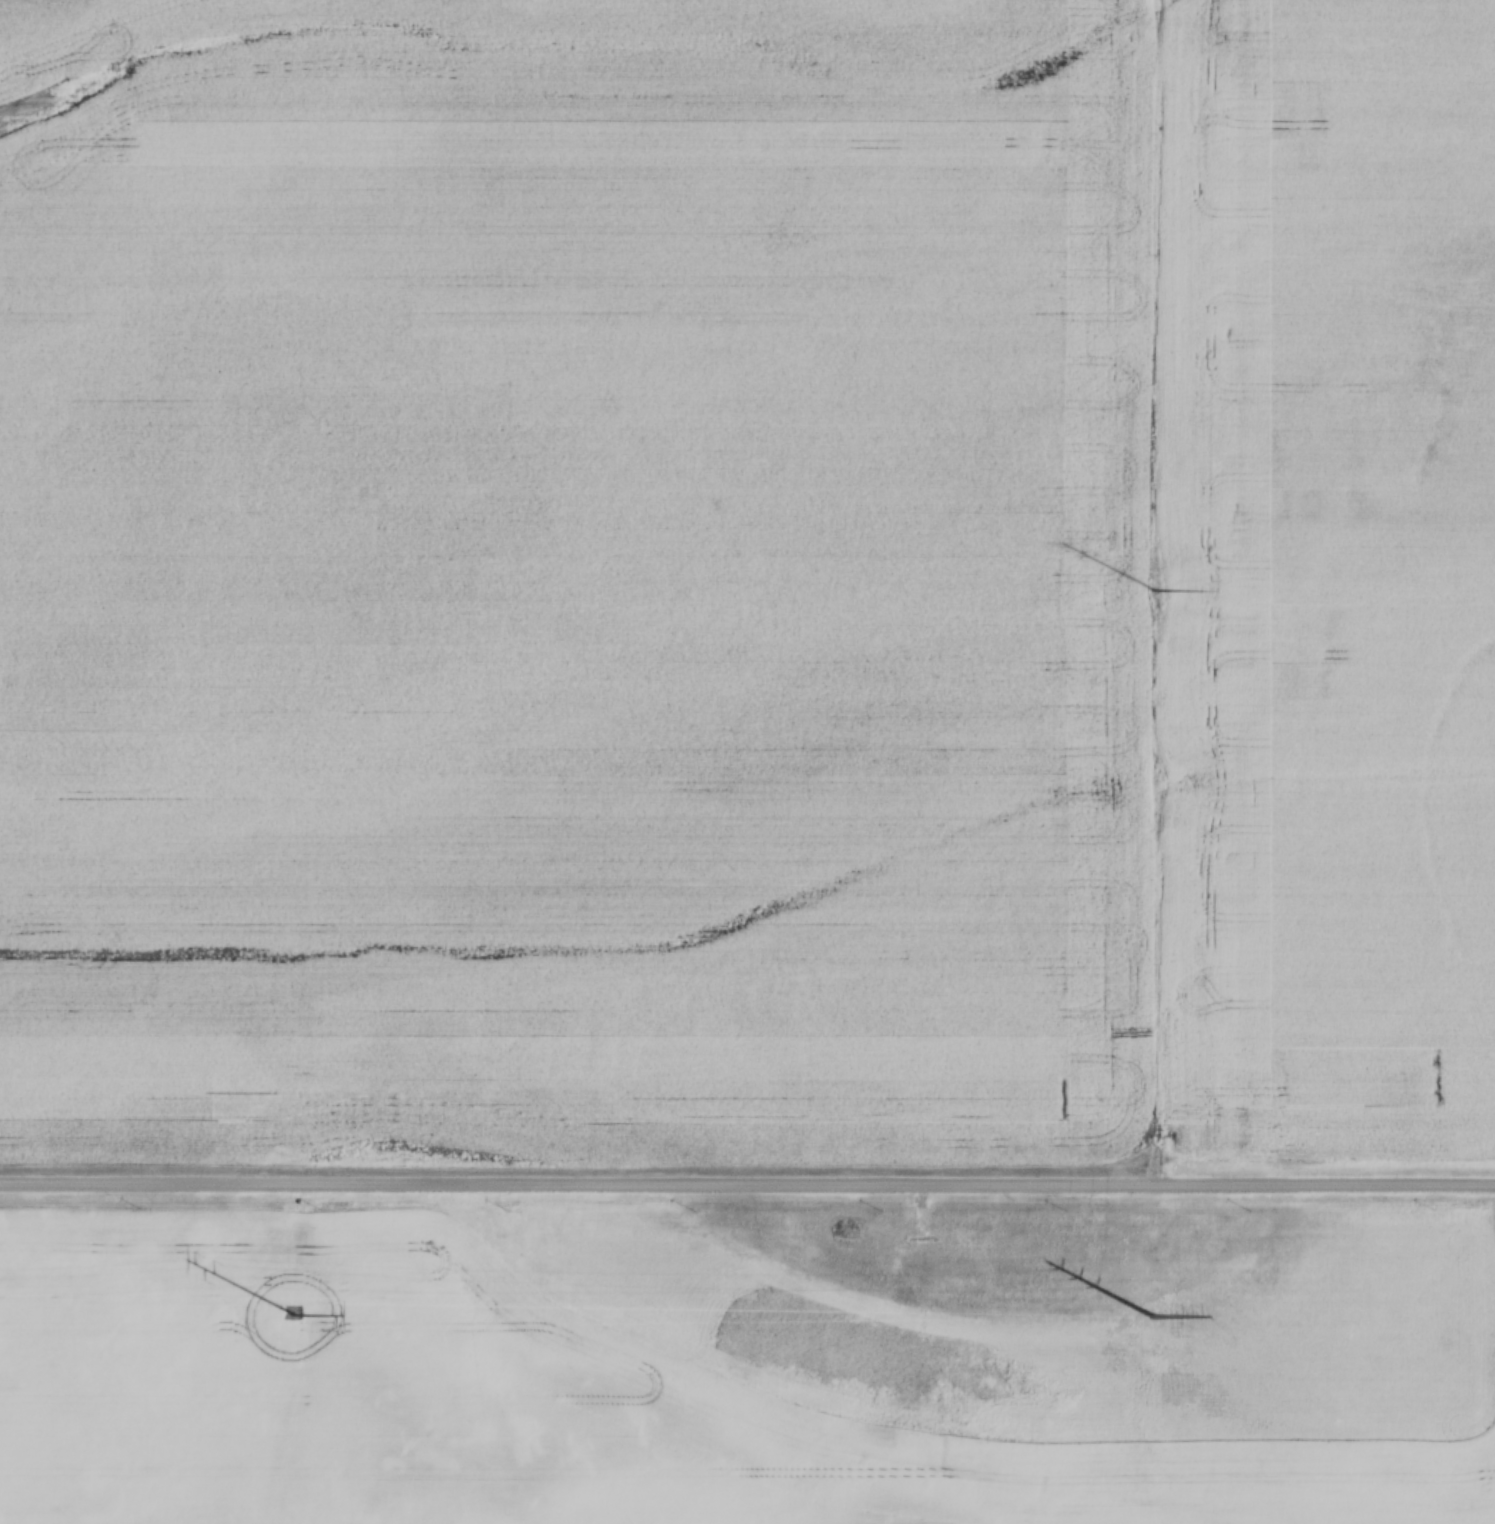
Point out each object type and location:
power tower: (1150, 583)
road: (747, 1183)
power tower: (293, 1308)
power tower: (1158, 1317)

